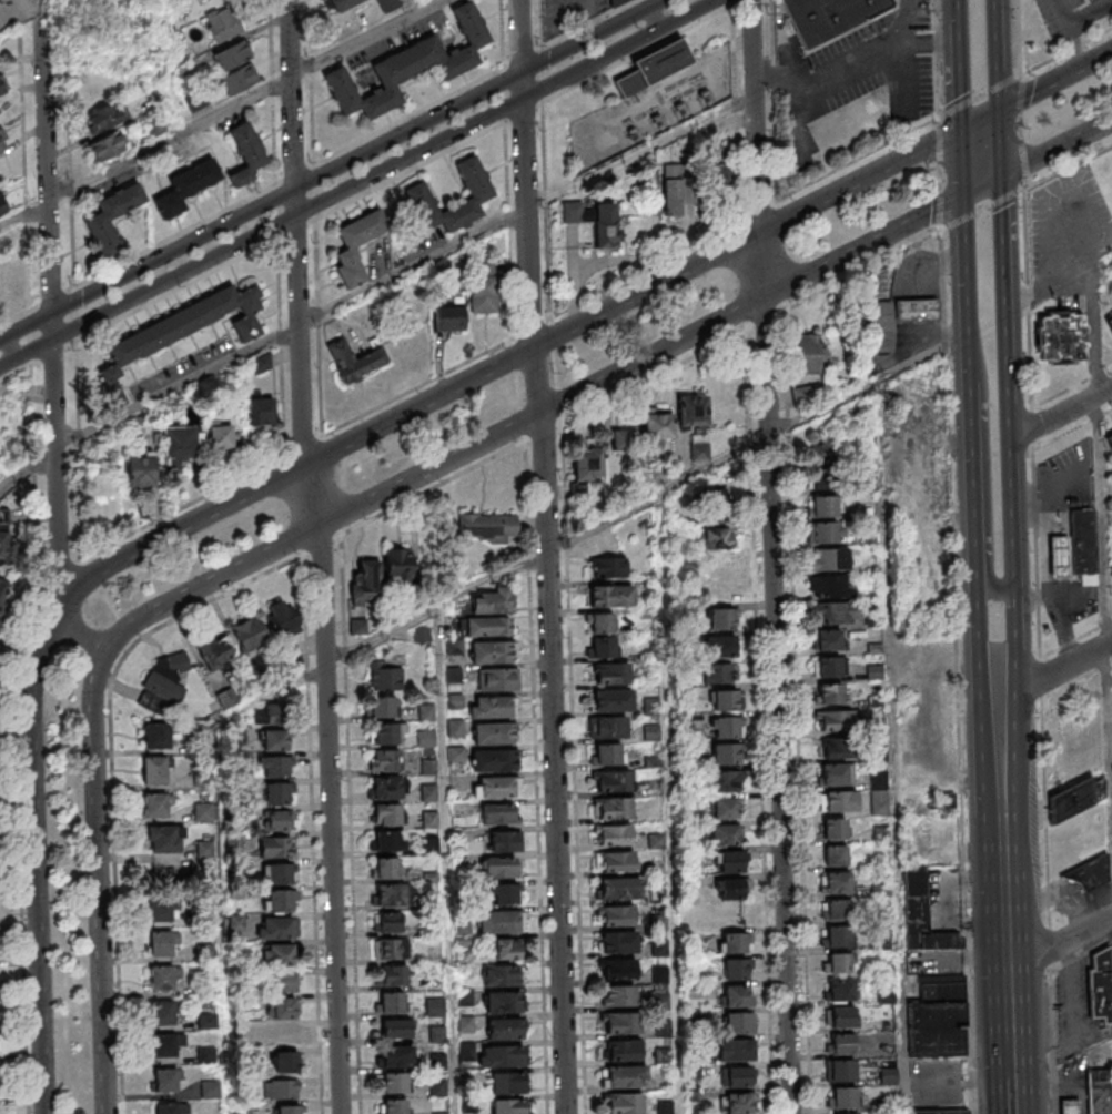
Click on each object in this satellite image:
building: (1090, 0)
building: (1096, 1)
building: (617, 2)
road: (731, 2)
road: (736, 2)
building: (342, 4)
road: (959, 12)
road: (1065, 12)
road: (1092, 14)
road: (658, 17)
building: (829, 17)
building: (222, 23)
road: (291, 33)
road: (371, 37)
road: (1019, 37)
road: (911, 43)
road: (1079, 47)
road: (1065, 51)
building: (231, 54)
road: (997, 54)
road: (938, 58)
road: (1095, 60)
building: (657, 68)
building: (414, 73)
road: (961, 75)
road: (836, 78)
building: (240, 79)
building: (1, 89)
road: (1038, 89)
road: (1022, 94)
road: (980, 95)
power substation: (651, 102)
traffic signals: (999, 110)
road: (981, 119)
building: (103, 120)
road: (1019, 126)
traffic signals: (963, 129)
road: (171, 141)
road: (1000, 143)
building: (2, 144)
building: (107, 148)
road: (1057, 149)
building: (245, 151)
road: (356, 156)
road: (963, 162)
road: (1025, 162)
road: (1069, 164)
road: (526, 173)
road: (941, 173)
traffic signals: (1001, 176)
road: (357, 182)
building: (185, 185)
road: (982, 185)
building: (676, 190)
building: (416, 191)
road: (775, 191)
traffic signals: (964, 195)
building: (2, 205)
road: (983, 210)
road: (22, 217)
building: (595, 220)
building: (97, 221)
road: (1002, 227)
road: (747, 237)
road: (866, 245)
building: (350, 246)
road: (414, 265)
road: (299, 266)
road: (859, 273)
road: (1058, 287)
building: (485, 288)
road: (968, 288)
road: (1028, 297)
building: (916, 308)
building: (448, 318)
road: (765, 322)
building: (1109, 322)
road: (24, 326)
building: (880, 326)
building: (179, 332)
building: (1063, 335)
road: (51, 346)
road: (10, 347)
building: (808, 354)
building: (355, 361)
building: (262, 363)
road: (1072, 386)
road: (176, 388)
building: (807, 396)
road: (418, 406)
building: (693, 411)
building: (261, 412)
road: (1061, 414)
building: (657, 427)
road: (1032, 428)
road: (1009, 434)
building: (222, 438)
building: (1110, 438)
building: (623, 440)
building: (179, 443)
building: (826, 448)
road: (988, 463)
building: (585, 467)
road: (27, 469)
building: (140, 469)
road: (973, 474)
building: (823, 480)
road: (1054, 497)
building: (715, 505)
building: (825, 507)
road: (1055, 516)
road: (1108, 518)
road: (1103, 525)
road: (596, 526)
road: (1058, 527)
building: (486, 528)
building: (4, 530)
building: (827, 534)
building: (717, 537)
building: (1084, 545)
road: (1037, 554)
road: (775, 556)
road: (1053, 556)
building: (1059, 556)
road: (1062, 556)
building: (829, 559)
building: (720, 564)
building: (398, 566)
building: (607, 567)
building: (1111, 568)
road: (225, 575)
road: (1061, 581)
building: (364, 583)
road: (1059, 585)
building: (830, 586)
building: (721, 591)
road: (343, 594)
road: (1052, 594)
building: (609, 595)
building: (492, 601)
building: (1, 602)
building: (833, 612)
building: (283, 618)
building: (721, 618)
building: (599, 622)
building: (488, 627)
road: (980, 629)
road: (1064, 629)
building: (250, 634)
building: (423, 636)
building: (826, 639)
road: (1015, 640)
building: (722, 646)
building: (600, 647)
building: (455, 648)
building: (215, 651)
building: (492, 652)
building: (826, 666)
building: (719, 672)
road: (957, 672)
road: (1055, 672)
building: (613, 674)
building: (454, 676)
building: (385, 677)
road: (1041, 678)
building: (499, 679)
building: (163, 682)
building: (828, 693)
building: (226, 698)
building: (614, 699)
building: (724, 699)
building: (456, 703)
building: (650, 706)
building: (381, 707)
building: (492, 707)
road: (798, 712)
building: (427, 713)
road: (29, 715)
building: (270, 715)
building: (836, 719)
road: (760, 722)
building: (724, 726)
building: (610, 727)
building: (456, 729)
road: (554, 730)
building: (387, 732)
building: (493, 733)
building: (158, 735)
road: (18, 737)
building: (275, 739)
building: (427, 739)
building: (202, 746)
road: (894, 747)
building: (837, 748)
building: (606, 753)
building: (724, 753)
building: (457, 756)
building: (385, 760)
building: (494, 760)
building: (274, 766)
road: (575, 769)
building: (154, 771)
building: (836, 774)
road: (536, 778)
road: (112, 779)
building: (203, 779)
building: (615, 781)
building: (722, 781)
building: (497, 787)
road: (328, 788)
building: (384, 788)
building: (276, 793)
building: (429, 793)
building: (1071, 799)
building: (838, 800)
road: (671, 803)
building: (155, 806)
building: (615, 808)
building: (721, 808)
road: (1045, 811)
building: (204, 813)
building: (388, 813)
building: (497, 814)
building: (277, 819)
building: (431, 820)
building: (833, 828)
road: (313, 834)
building: (615, 834)
building: (724, 834)
building: (165, 839)
building: (504, 840)
building: (387, 841)
building: (235, 842)
building: (432, 847)
building: (275, 848)
building: (206, 850)
building: (833, 854)
road: (448, 860)
building: (728, 861)
building: (618, 862)
road: (1004, 862)
building: (386, 868)
building: (498, 868)
building: (280, 873)
building: (1093, 873)
building: (835, 882)
building: (618, 889)
building: (730, 889)
building: (504, 893)
building: (388, 895)
building: (280, 900)
building: (160, 909)
building: (833, 909)
building: (617, 915)
building: (921, 915)
building: (498, 920)
building: (387, 922)
building: (237, 923)
building: (463, 926)
building: (276, 928)
building: (836, 936)
building: (620, 942)
building: (732, 942)
road: (1060, 942)
building: (161, 943)
building: (386, 948)
road: (1049, 948)
building: (506, 949)
building: (205, 952)
building: (282, 953)
road: (1081, 954)
building: (837, 962)
building: (734, 968)
building: (619, 969)
building: (391, 975)
building: (499, 975)
building: (162, 978)
building: (285, 981)
building: (1100, 988)
building: (206, 990)
building: (838, 991)
building: (618, 994)
building: (732, 995)
building: (465, 997)
building: (392, 1001)
building: (503, 1001)
building: (241, 1004)
building: (284, 1007)
building: (434, 1007)
building: (162, 1012)
building: (838, 1016)
building: (937, 1016)
building: (208, 1022)
building: (621, 1022)
building: (737, 1022)
building: (466, 1024)
building: (395, 1027)
building: (504, 1029)
building: (241, 1031)
building: (437, 1034)
building: (285, 1035)
road: (1011, 1039)
road: (1052, 1042)
building: (838, 1044)
building: (164, 1045)
building: (731, 1049)
building: (625, 1050)
building: (467, 1052)
building: (395, 1055)
building: (206, 1056)
building: (502, 1056)
building: (243, 1057)
road: (1012, 1060)
building: (286, 1062)
building: (438, 1062)
building: (838, 1070)
building: (624, 1075)
building: (734, 1076)
building: (165, 1080)
building: (394, 1082)
building: (507, 1082)
building: (281, 1088)
building: (438, 1088)
building: (211, 1090)
building: (1100, 1091)
road: (1013, 1095)
building: (840, 1097)
building: (625, 1103)
building: (735, 1103)
building: (394, 1105)
building: (469, 1105)
building: (510, 1105)
building: (1070, 1106)
building: (166, 1107)
building: (244, 1108)
building: (289, 1110)
building: (942, 1111)
building: (843, 1113)

